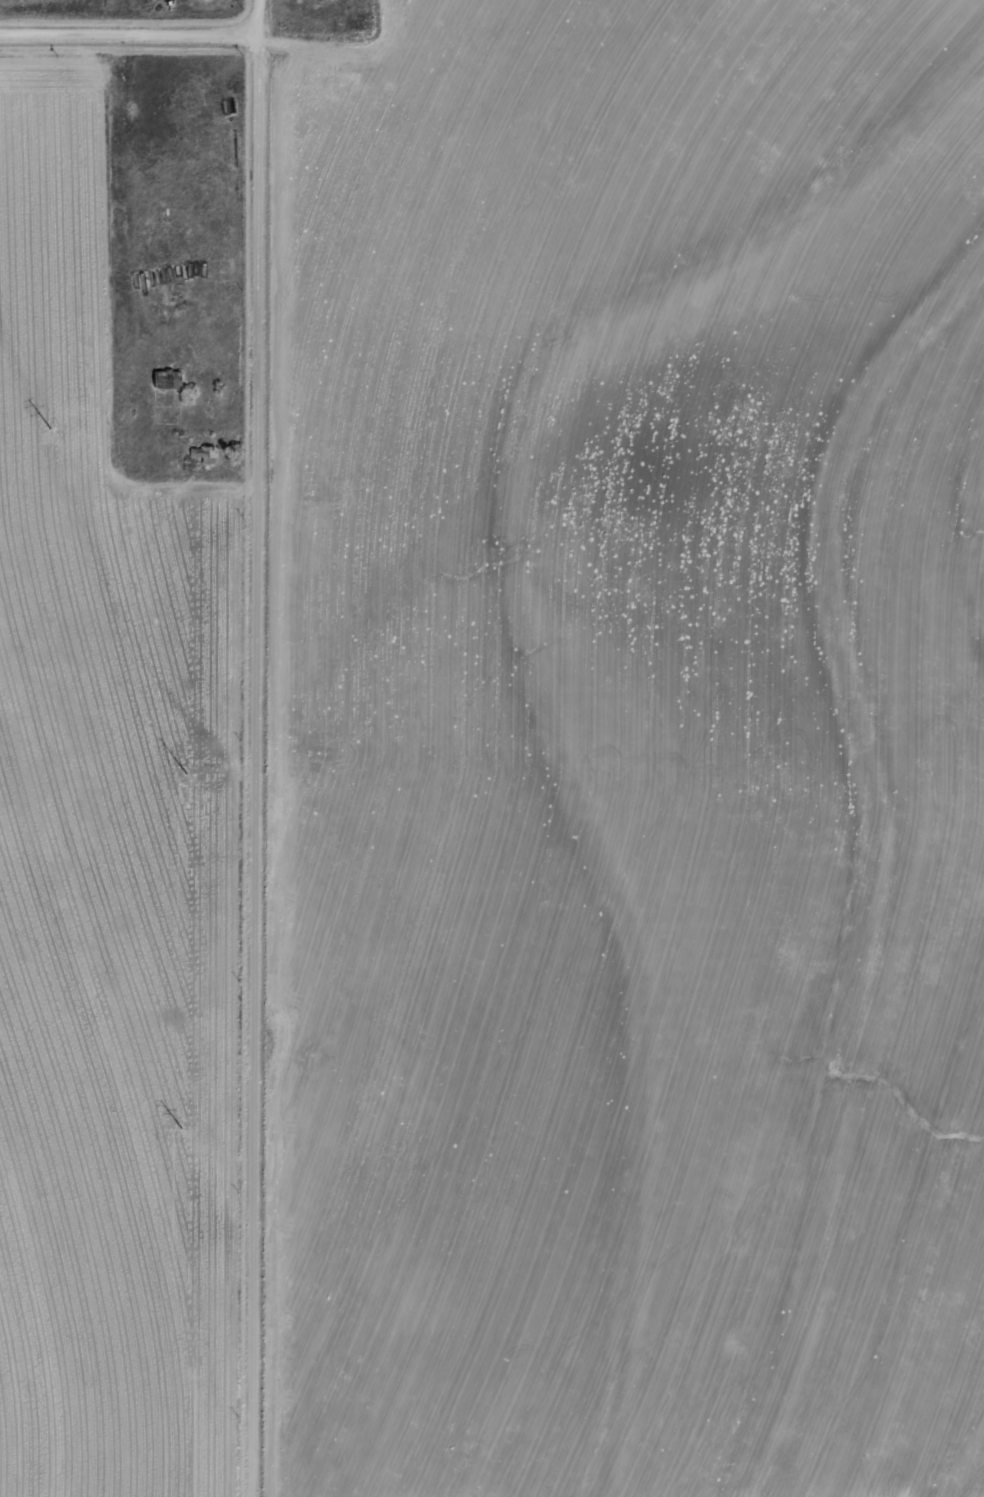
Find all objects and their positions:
road: (123, 35)
power tower: (38, 433)
road: (247, 748)
power tower: (174, 771)
power tower: (170, 1130)

